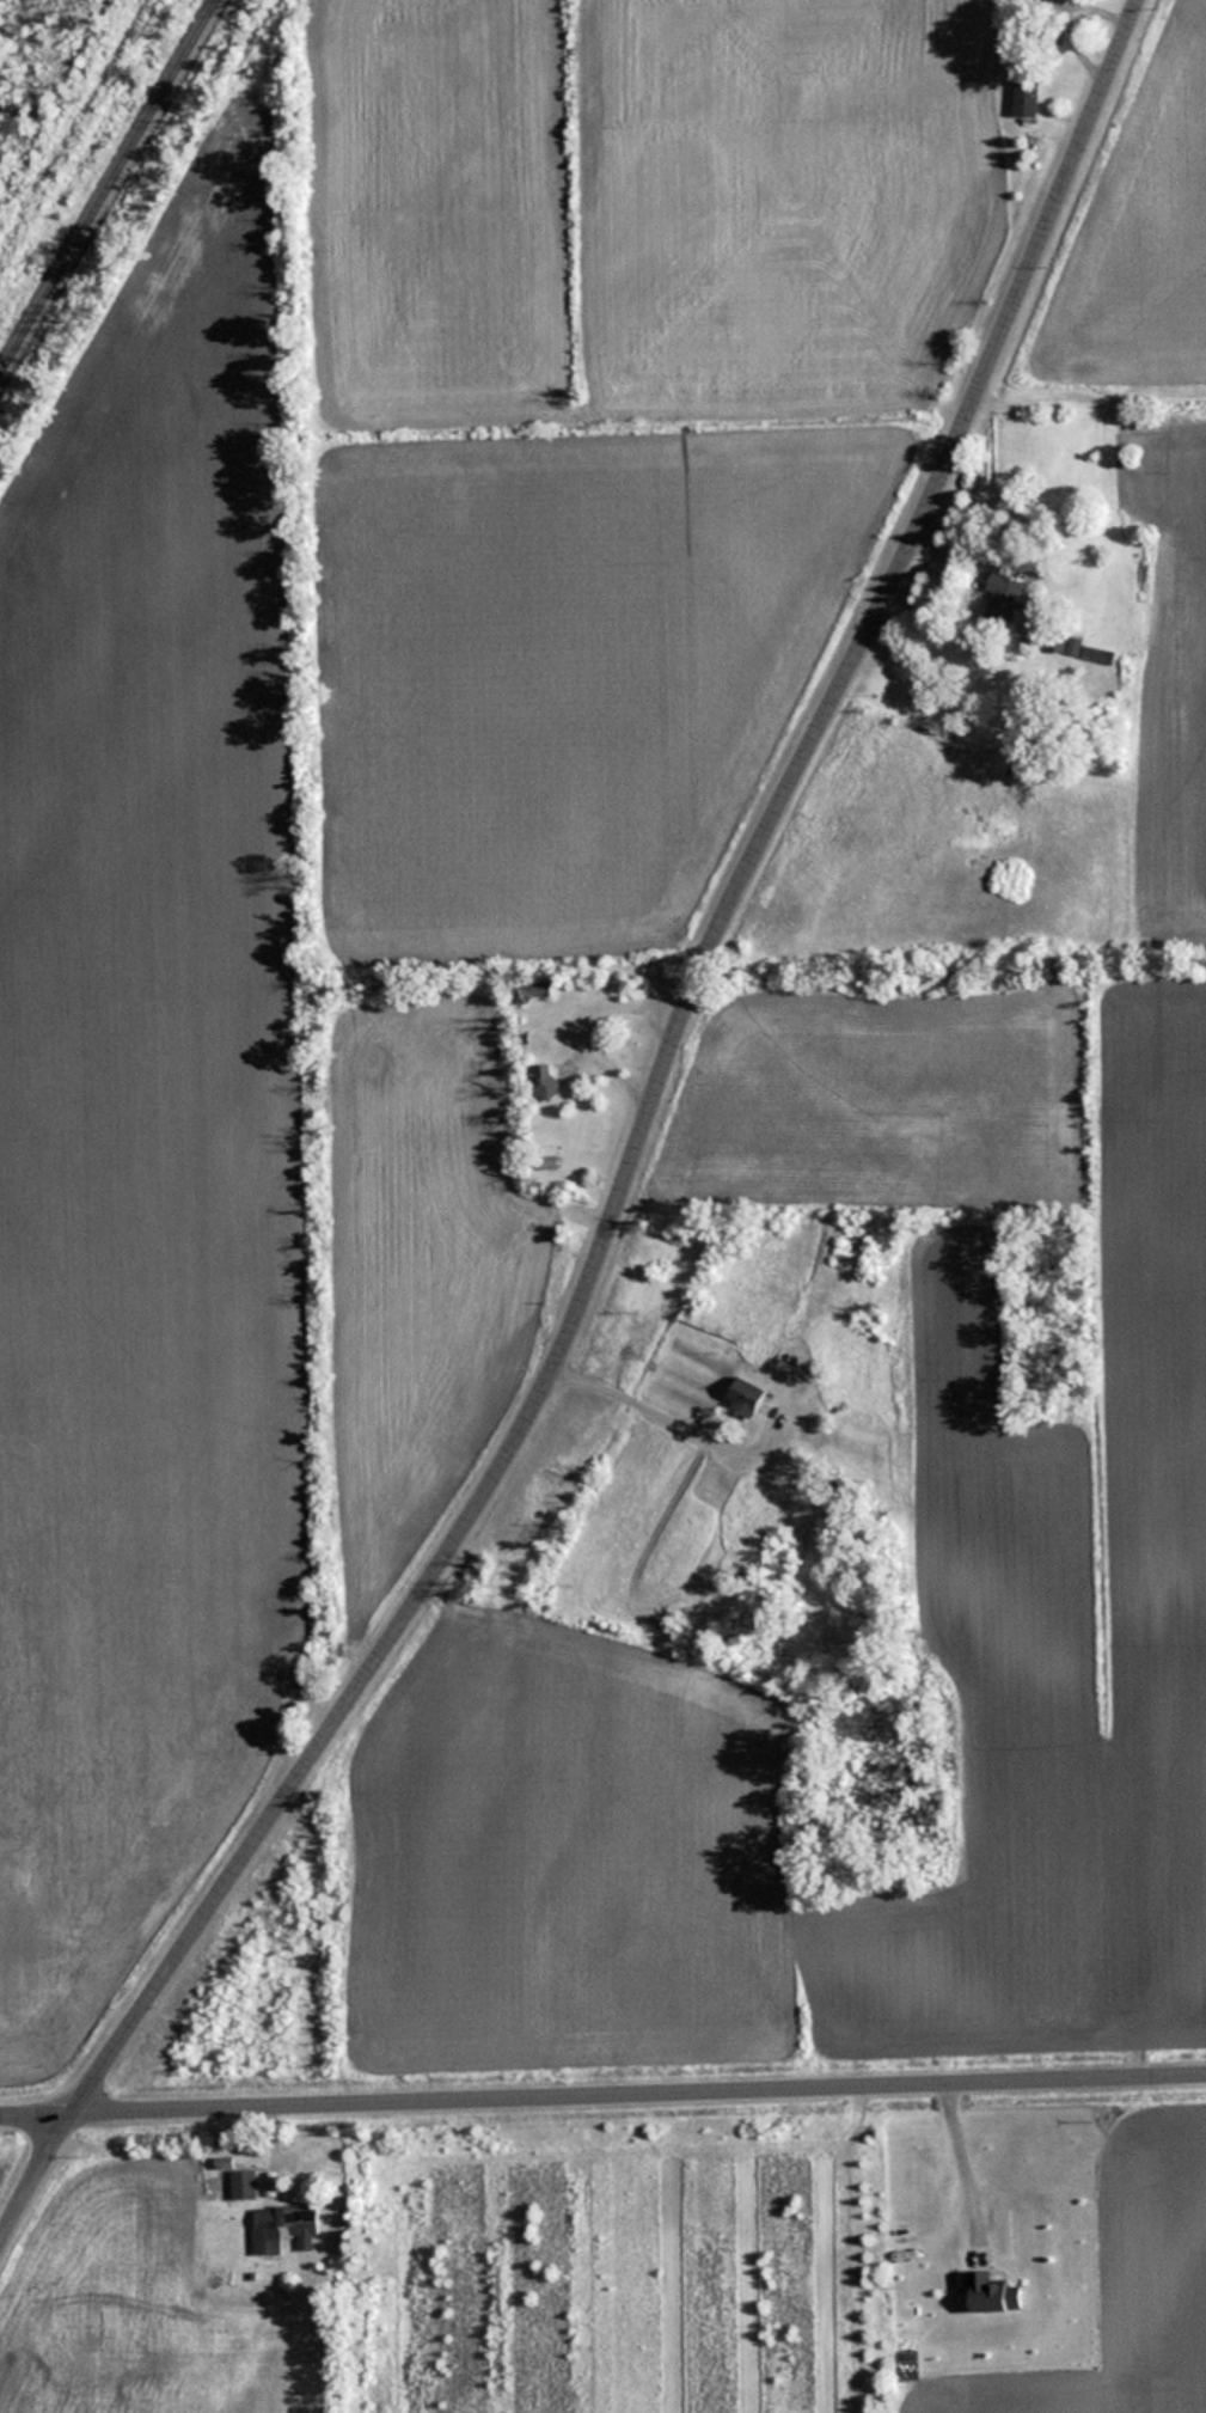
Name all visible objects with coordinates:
building: (1027, 97)
railway: (106, 185)
building: (1004, 599)
building: (1090, 652)
building: (539, 986)
building: (549, 1085)
road: (662, 1092)
building: (550, 1156)
building: (747, 1395)
road: (630, 2093)
road: (27, 2113)
road: (963, 2165)
road: (27, 2173)
building: (243, 2183)
building: (283, 2228)
building: (994, 2292)

